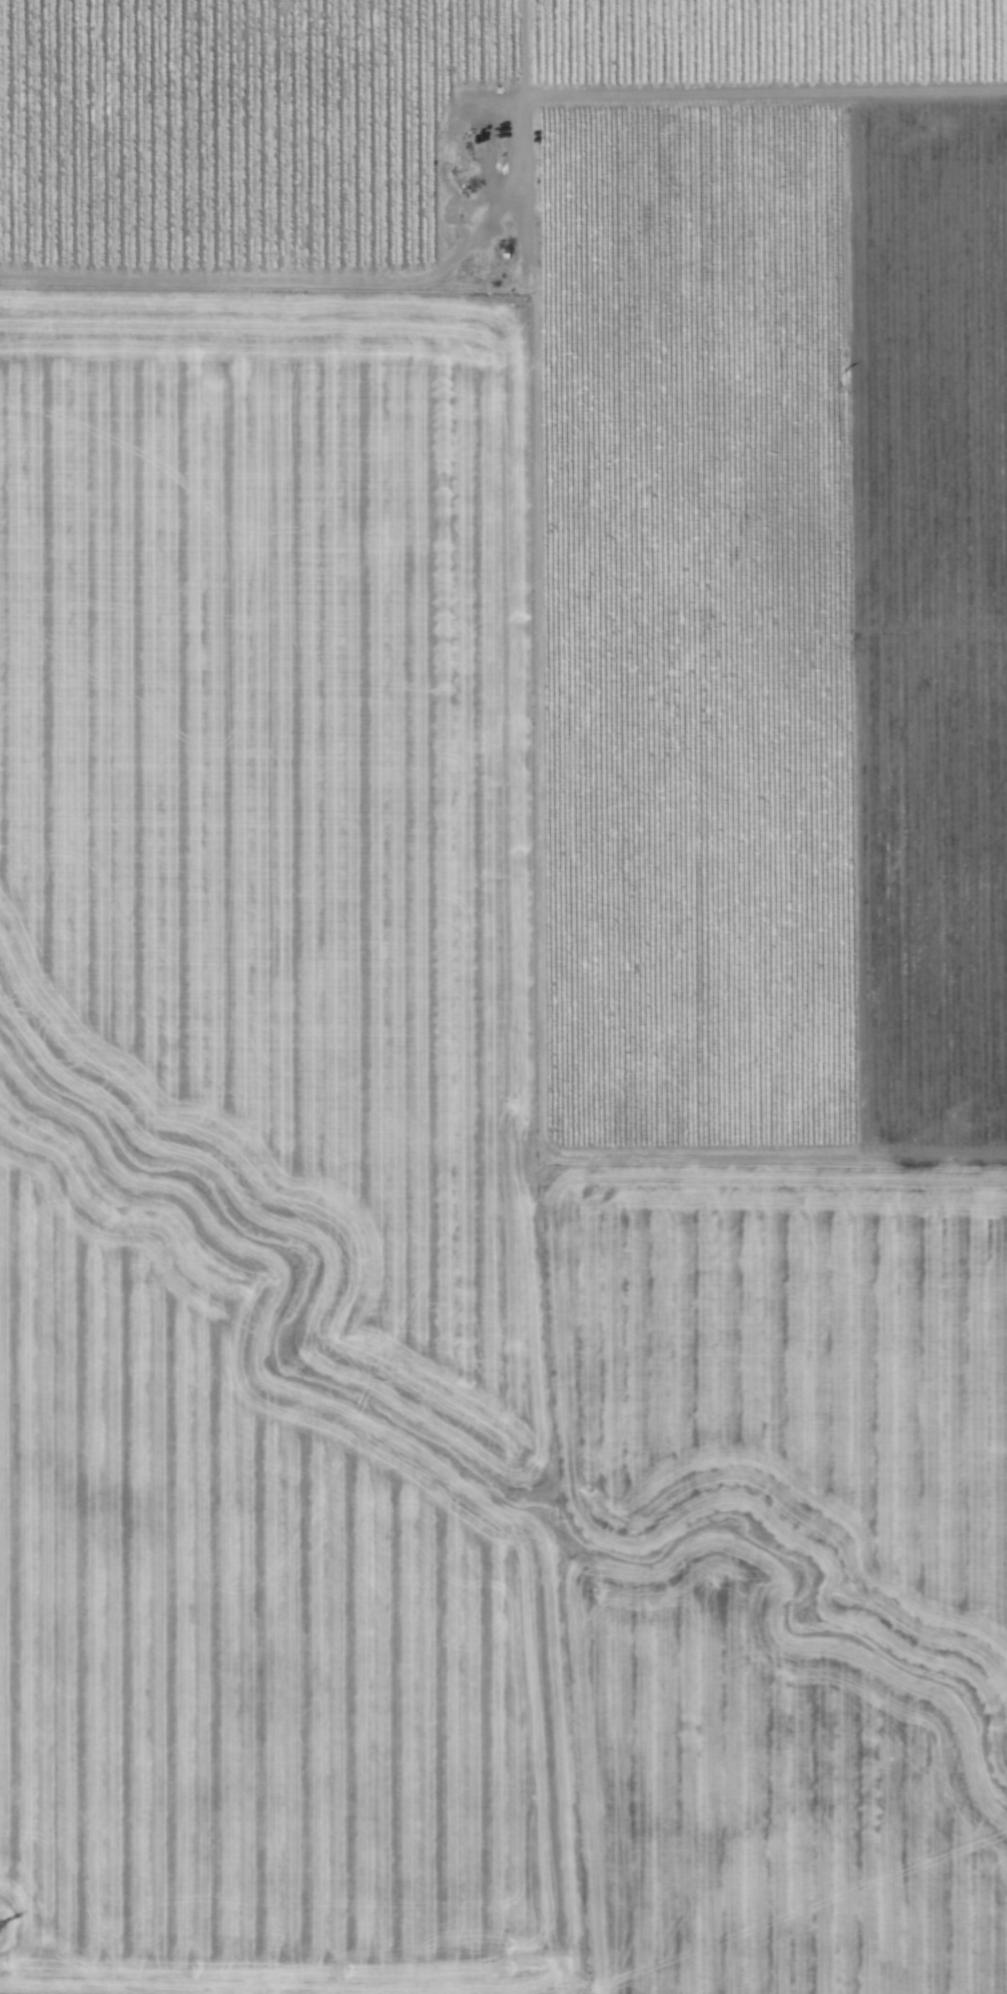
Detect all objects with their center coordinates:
road: (604, 95)

